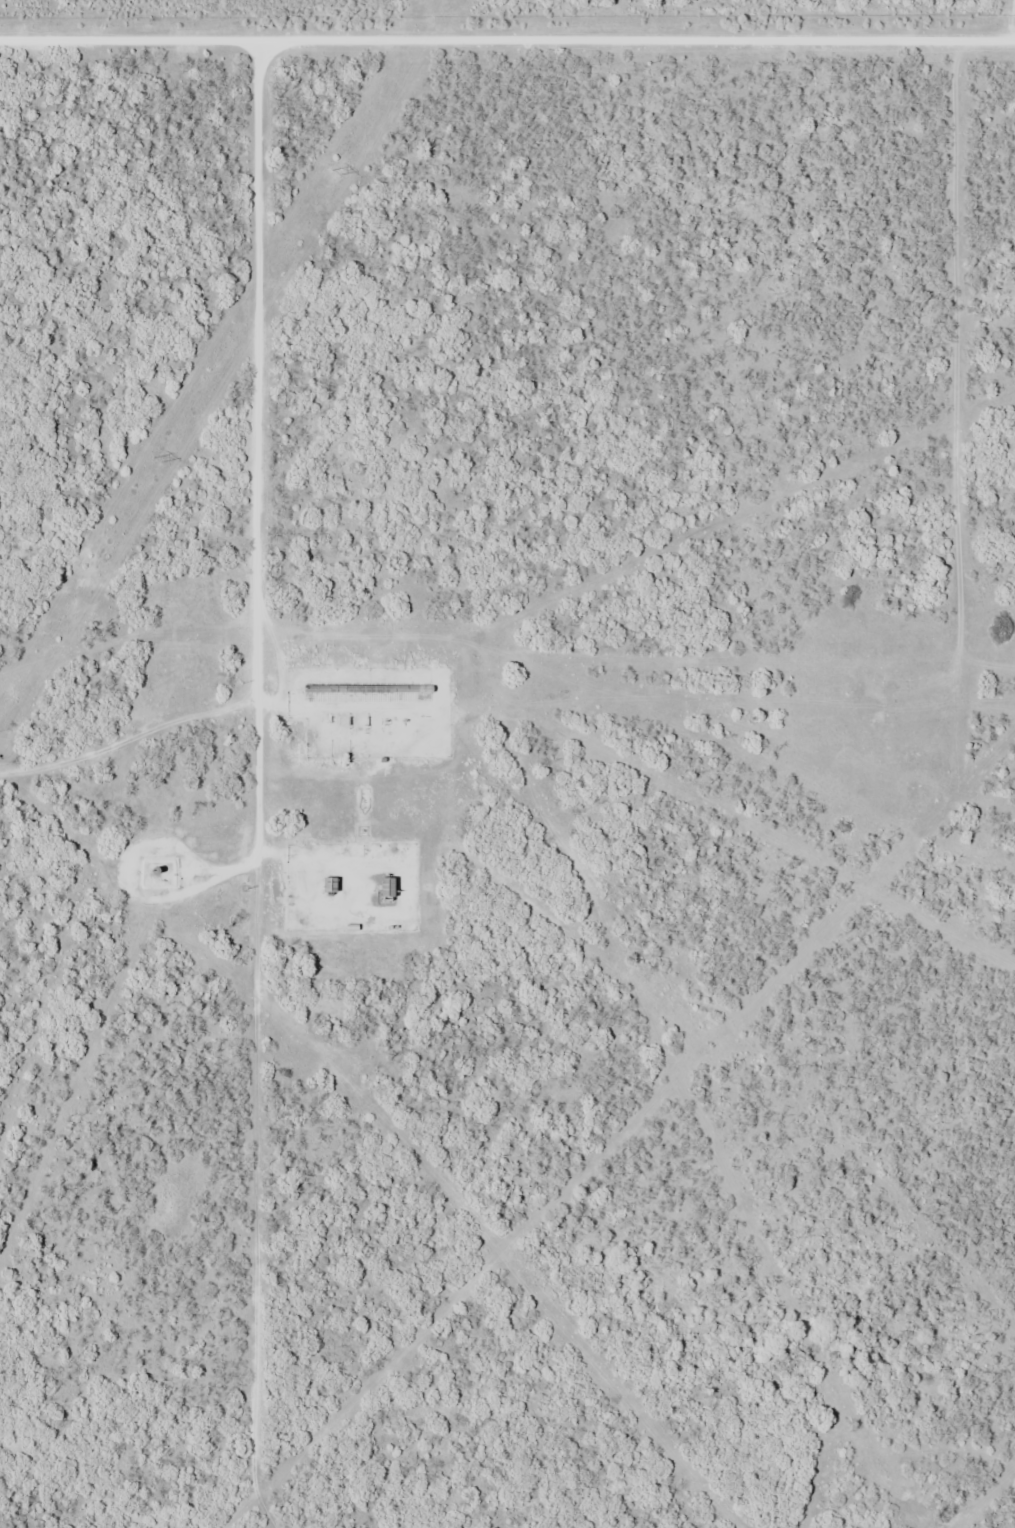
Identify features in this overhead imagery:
road: (1011, 14)
road: (507, 33)
power tower: (334, 168)
power tower: (155, 455)
road: (261, 520)
road: (228, 868)
building: (381, 888)

